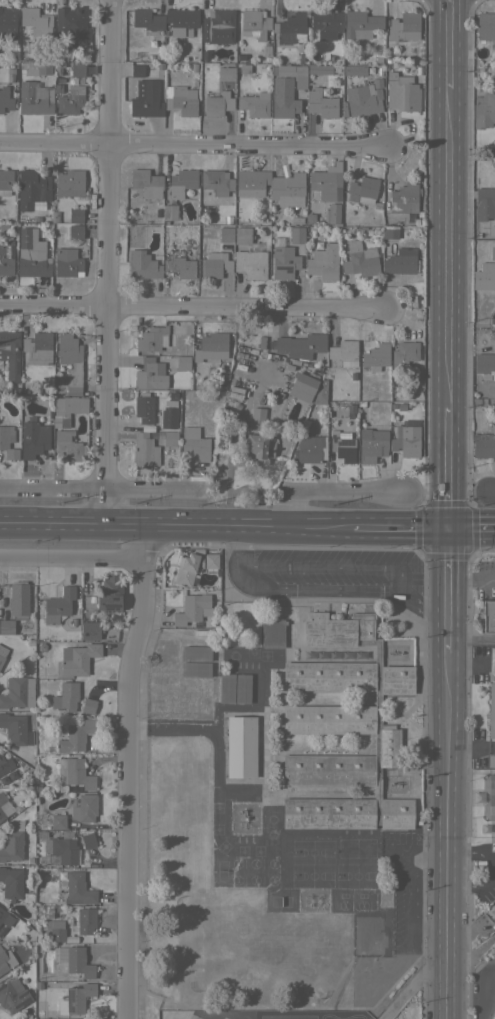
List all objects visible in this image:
building: (147, 20)
building: (36, 21)
building: (181, 21)
building: (7, 23)
building: (254, 23)
building: (326, 23)
building: (71, 24)
building: (360, 24)
building: (485, 25)
building: (217, 26)
building: (404, 27)
building: (290, 28)
road: (450, 44)
building: (265, 50)
building: (205, 55)
building: (240, 56)
building: (150, 57)
building: (158, 57)
building: (302, 57)
building: (313, 57)
building: (379, 58)
building: (388, 58)
building: (36, 66)
building: (194, 67)
building: (244, 68)
building: (77, 69)
building: (317, 69)
building: (136, 70)
building: (354, 70)
building: (418, 70)
building: (379, 71)
building: (225, 73)
building: (10, 75)
building: (377, 83)
building: (58, 89)
building: (286, 89)
building: (401, 92)
building: (5, 98)
building: (34, 98)
building: (146, 99)
building: (70, 100)
building: (180, 100)
building: (362, 100)
building: (321, 103)
building: (217, 104)
building: (254, 104)
building: (484, 109)
road: (193, 144)
road: (474, 158)
building: (5, 181)
building: (69, 182)
building: (181, 182)
building: (251, 182)
building: (147, 183)
building: (215, 183)
building: (324, 186)
building: (32, 189)
building: (289, 189)
building: (362, 190)
building: (405, 197)
building: (222, 200)
building: (484, 203)
building: (377, 204)
building: (169, 212)
building: (332, 213)
building: (419, 213)
building: (75, 214)
building: (54, 215)
building: (275, 215)
building: (309, 216)
building: (37, 217)
building: (217, 218)
building: (228, 218)
building: (415, 221)
building: (362, 228)
building: (311, 230)
building: (75, 231)
building: (226, 232)
building: (390, 232)
building: (297, 234)
building: (242, 235)
building: (405, 239)
building: (277, 240)
building: (316, 243)
building: (255, 245)
road: (452, 246)
building: (492, 252)
building: (32, 254)
building: (6, 257)
building: (360, 259)
building: (400, 261)
building: (67, 262)
building: (284, 262)
building: (323, 262)
road: (108, 263)
building: (215, 264)
building: (251, 264)
building: (145, 265)
building: (180, 266)
building: (484, 276)
road: (185, 303)
road: (473, 329)
building: (152, 338)
building: (260, 341)
building: (269, 344)
building: (301, 345)
building: (211, 346)
building: (38, 348)
building: (405, 352)
building: (10, 353)
building: (343, 353)
building: (376, 356)
building: (70, 361)
building: (182, 362)
building: (484, 368)
building: (150, 374)
building: (302, 387)
building: (174, 393)
building: (321, 393)
building: (207, 400)
building: (70, 405)
building: (400, 405)
building: (148, 410)
building: (56, 422)
building: (257, 436)
building: (33, 438)
building: (170, 438)
building: (406, 439)
building: (7, 442)
building: (195, 443)
building: (372, 444)
building: (483, 445)
building: (68, 446)
building: (343, 447)
building: (309, 448)
building: (144, 450)
road: (450, 466)
road: (98, 488)
road: (326, 489)
road: (491, 492)
road: (175, 527)
road: (401, 527)
road: (472, 527)
road: (71, 559)
building: (210, 560)
road: (328, 566)
building: (187, 568)
road: (472, 576)
road: (449, 589)
road: (317, 590)
building: (109, 593)
building: (18, 599)
building: (58, 604)
building: (192, 608)
building: (488, 615)
building: (6, 626)
building: (90, 630)
building: (272, 632)
road: (472, 636)
building: (30, 642)
building: (41, 646)
building: (195, 652)
building: (2, 653)
building: (78, 658)
road: (470, 661)
building: (195, 669)
building: (155, 678)
building: (226, 687)
building: (242, 687)
building: (18, 692)
building: (66, 696)
building: (88, 705)
building: (170, 709)
building: (491, 710)
building: (202, 715)
building: (16, 729)
building: (343, 730)
building: (76, 736)
building: (240, 746)
road: (467, 747)
road: (491, 748)
building: (491, 760)
building: (5, 764)
road: (127, 772)
building: (74, 773)
building: (489, 796)
building: (2, 797)
building: (84, 808)
building: (2, 815)
building: (57, 821)
road: (446, 835)
building: (88, 840)
building: (12, 842)
building: (63, 847)
building: (29, 860)
building: (11, 883)
building: (77, 889)
building: (27, 897)
building: (5, 916)
building: (48, 919)
building: (82, 920)
building: (57, 934)
building: (367, 934)
building: (5, 959)
building: (78, 962)
road: (412, 982)
building: (13, 994)
road: (483, 997)
building: (75, 1000)

